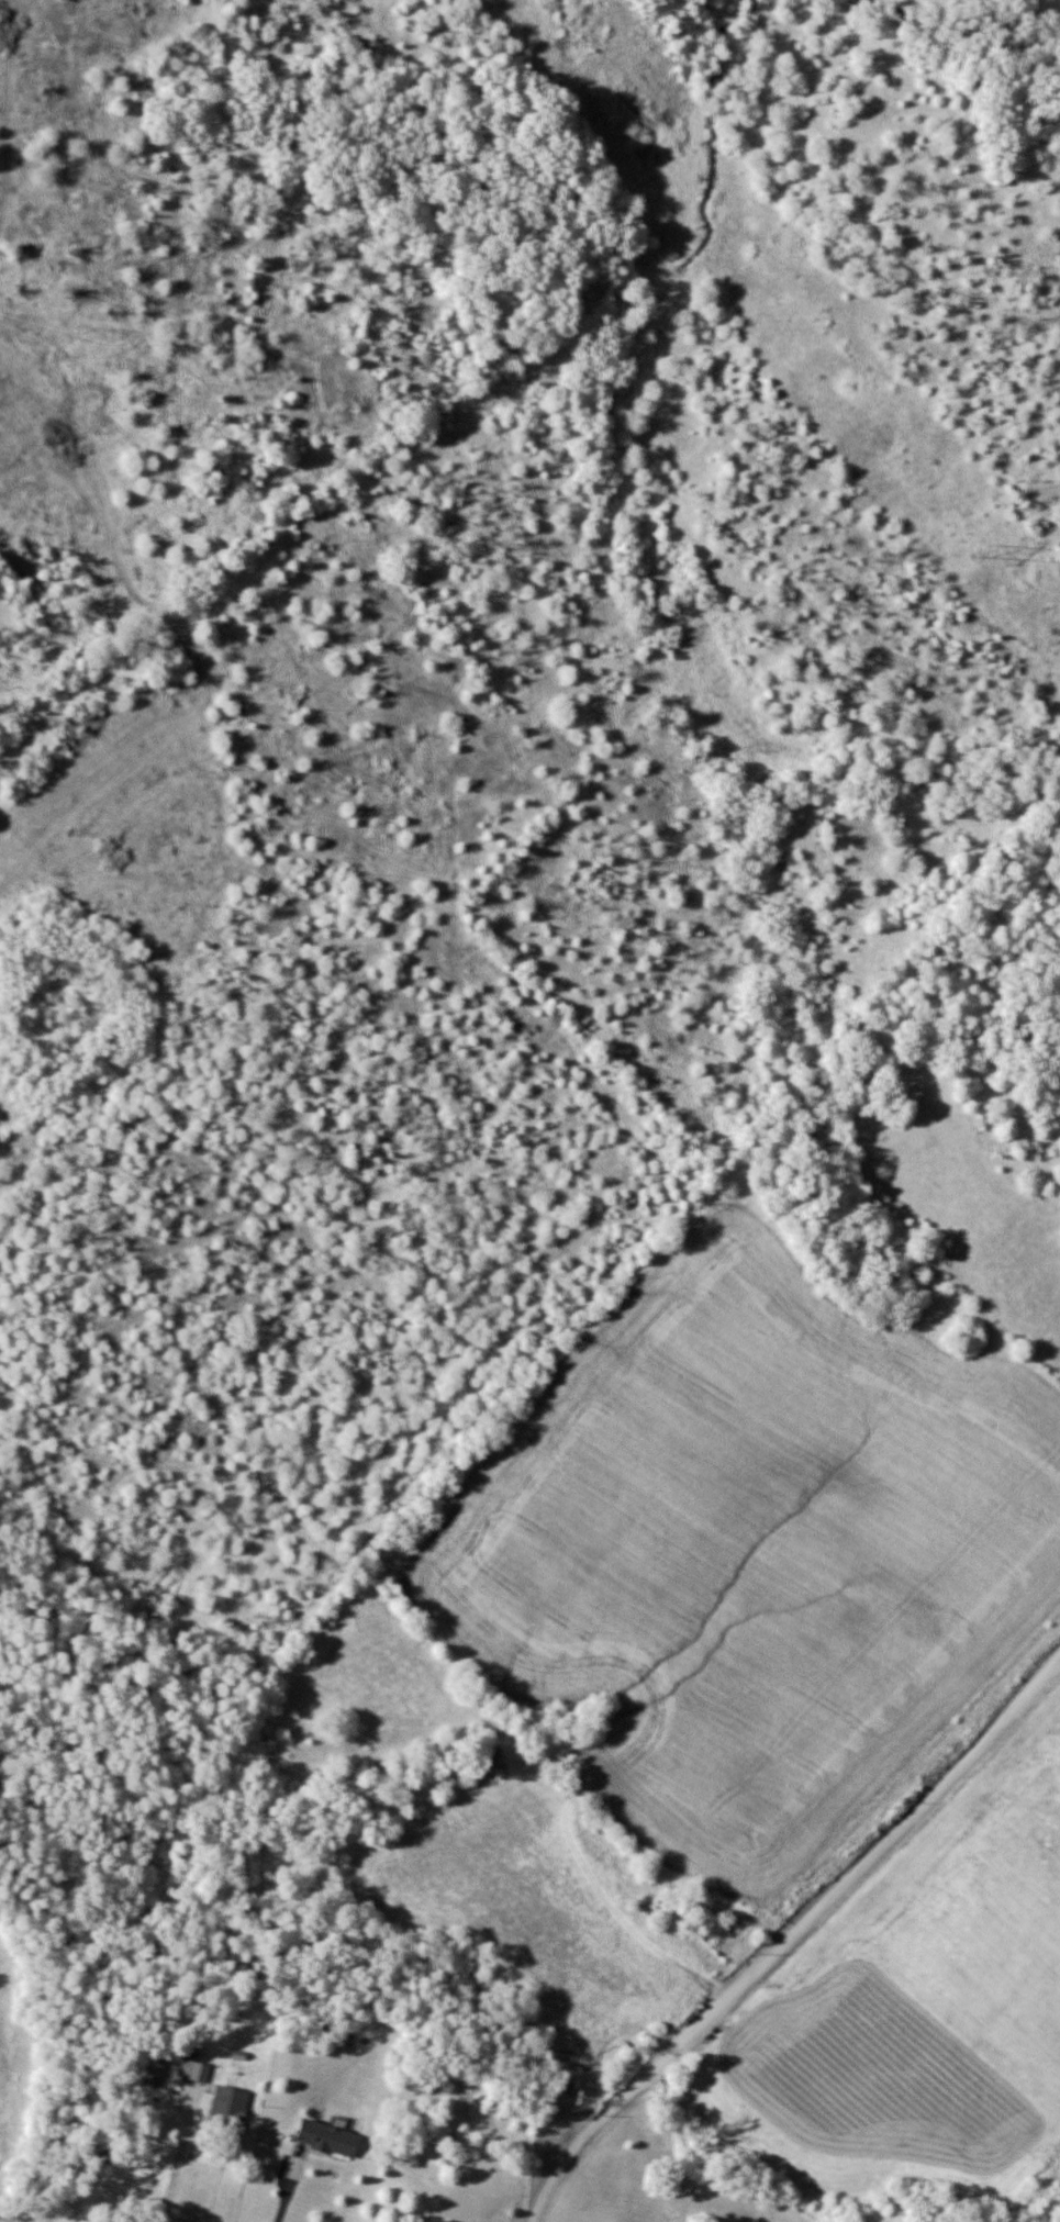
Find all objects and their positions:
power tower: (982, 554)
crop: (754, 1549)
road: (792, 1936)
crop: (923, 2002)
crop: (13, 2066)
building: (194, 2068)
building: (155, 2072)
building: (230, 2107)
building: (328, 2140)
road: (178, 2155)

